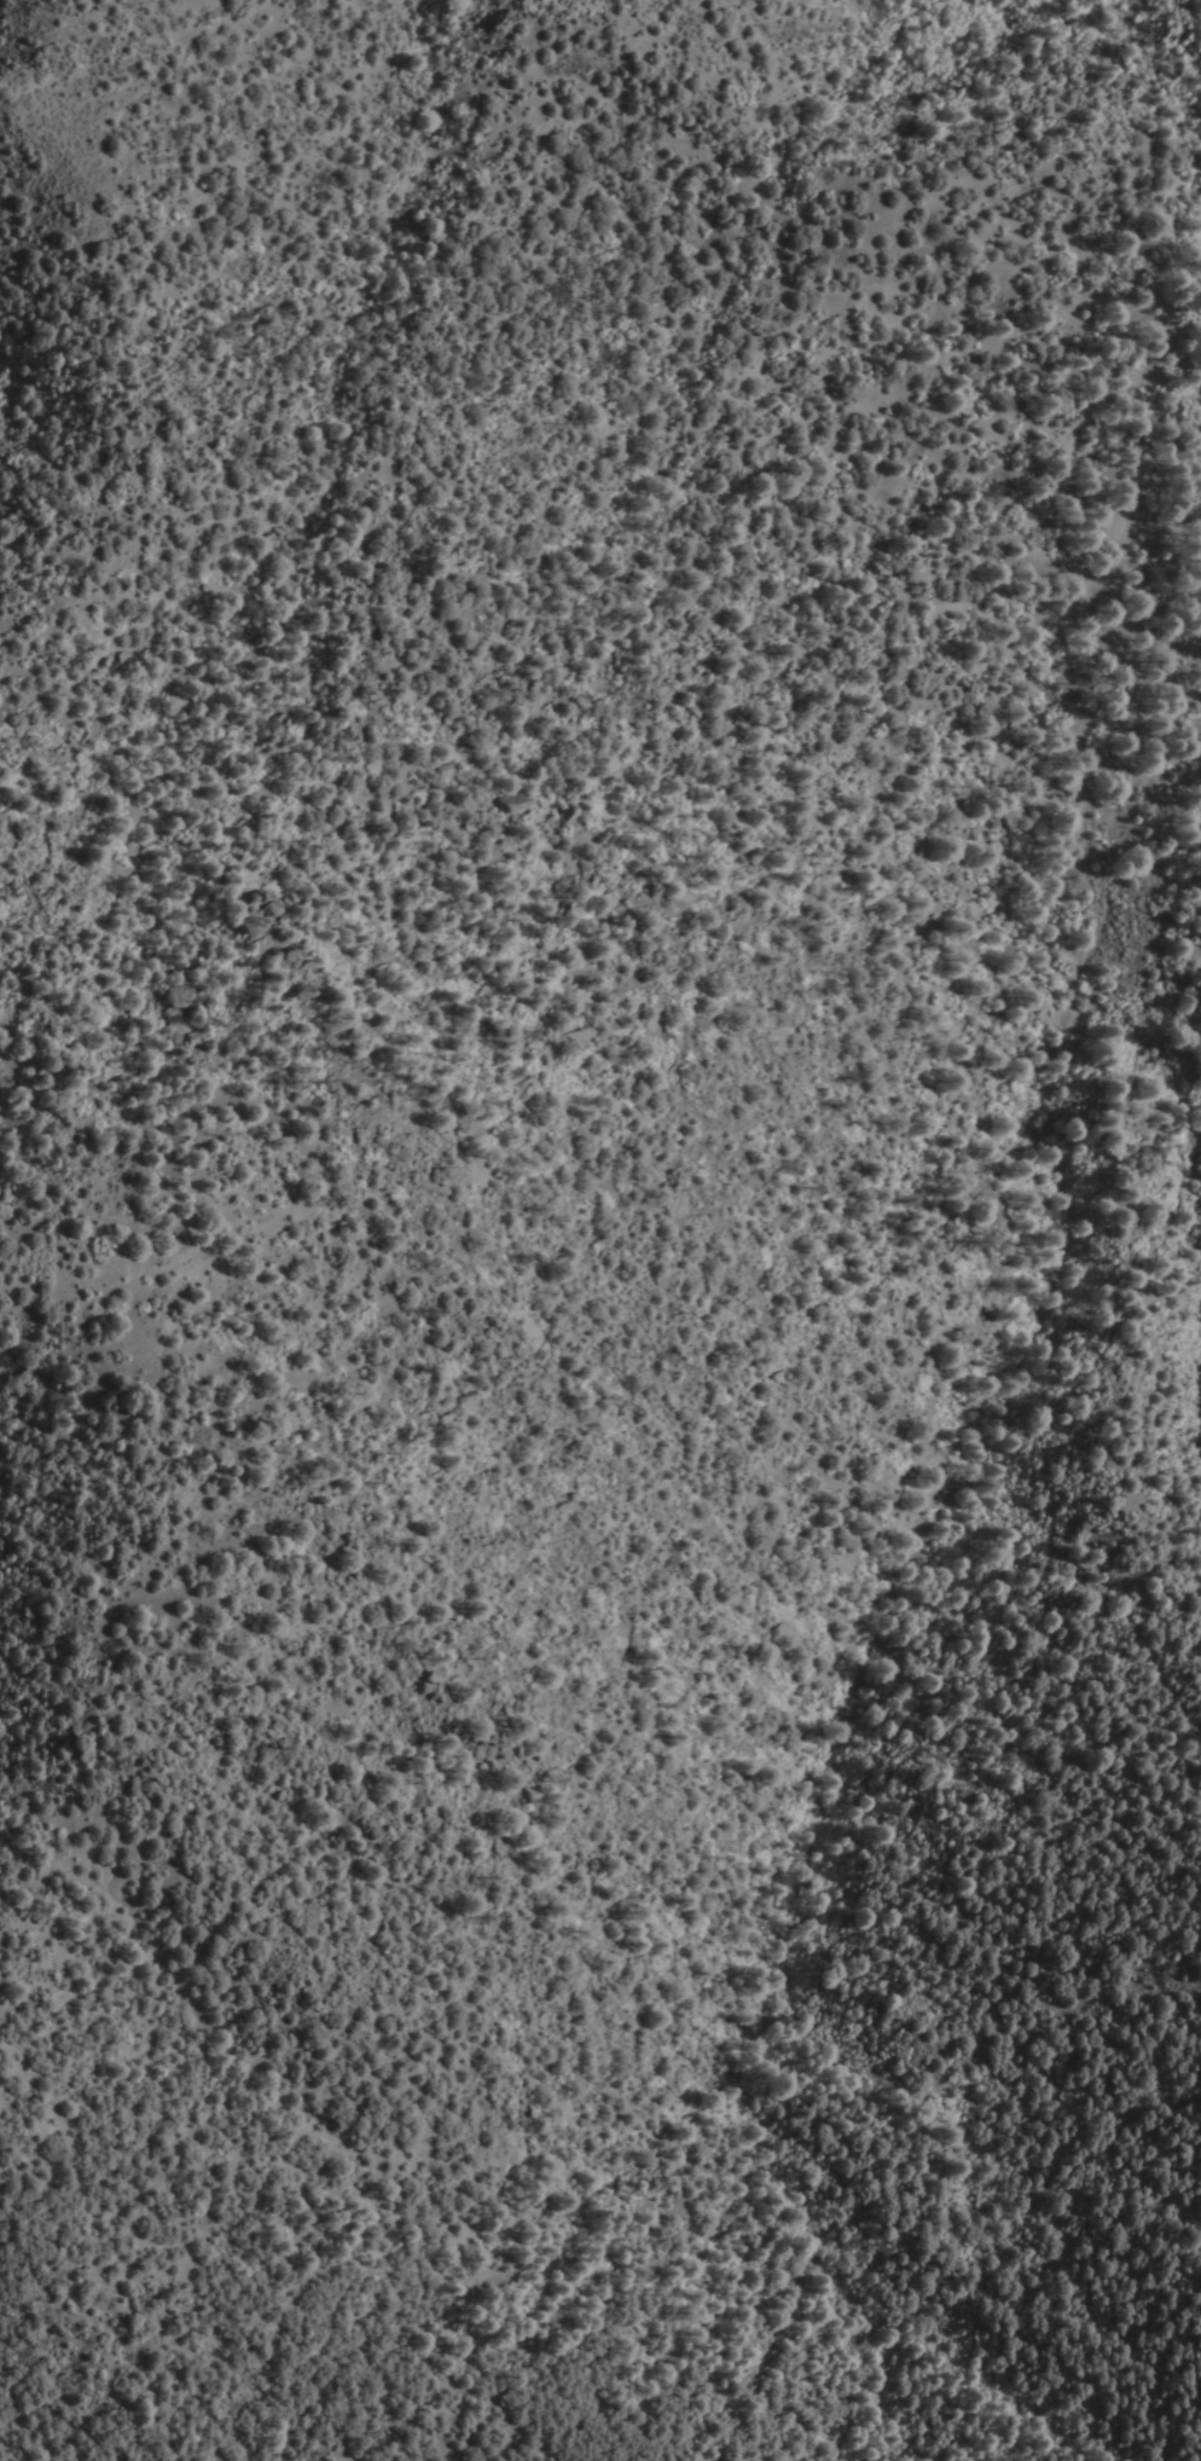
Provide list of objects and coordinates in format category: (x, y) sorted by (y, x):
road: (225, 2236)
road: (452, 2410)

